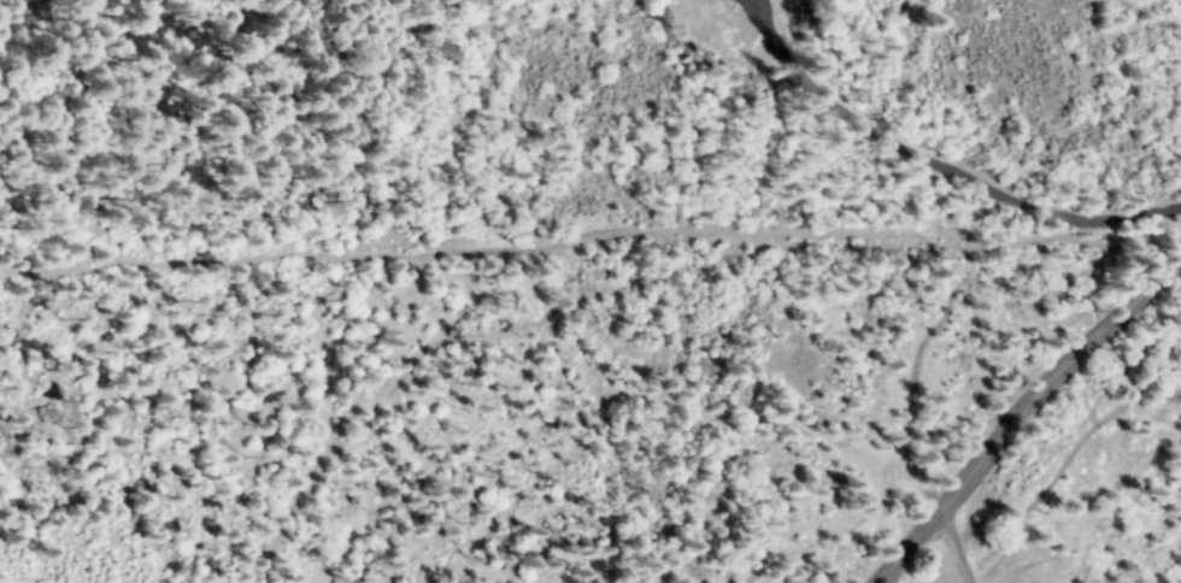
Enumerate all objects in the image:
road: (1001, 69)
road: (1032, 413)

